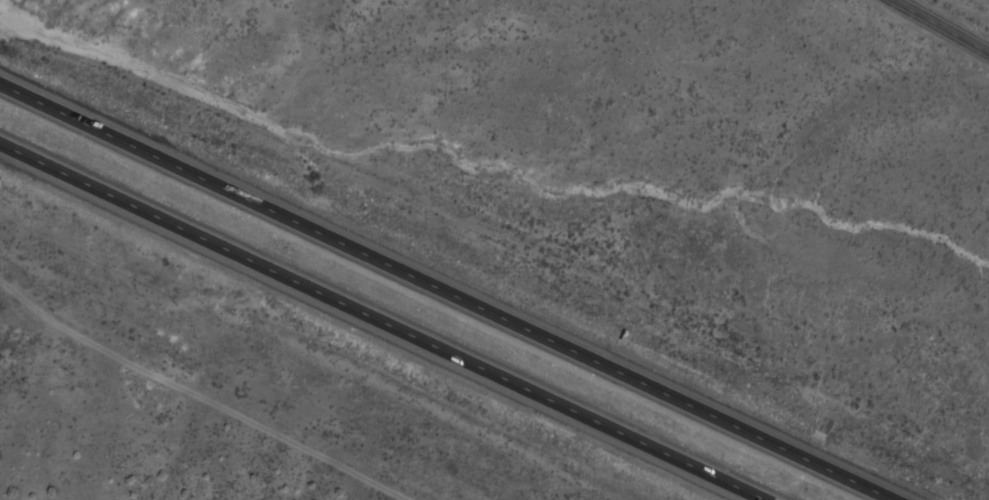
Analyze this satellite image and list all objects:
road: (939, 26)
road: (448, 292)
road: (380, 322)

